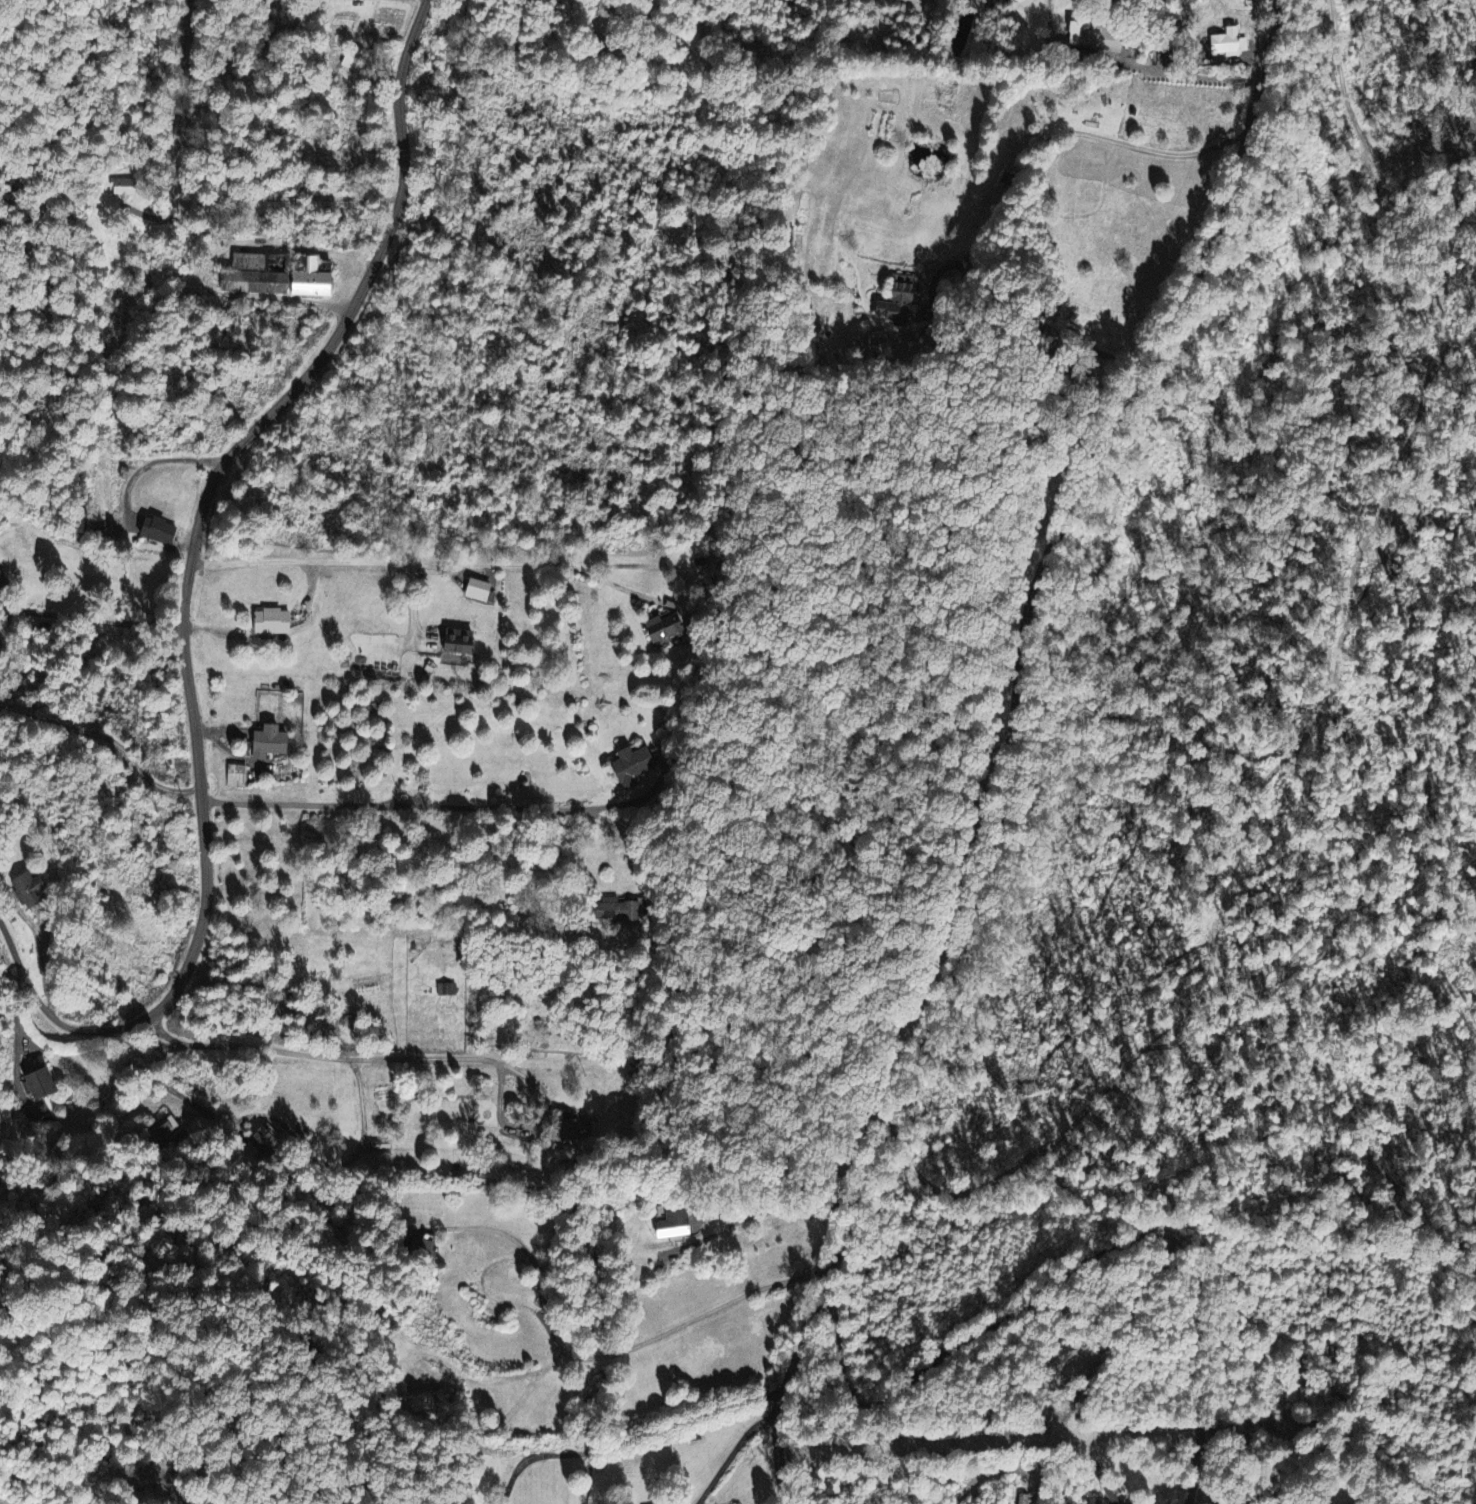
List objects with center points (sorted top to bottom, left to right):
building: (1097, 40)
building: (1228, 44)
road: (1190, 74)
road: (1048, 138)
road: (184, 217)
building: (272, 278)
building: (905, 304)
building: (156, 532)
road: (423, 566)
building: (2, 583)
road: (188, 585)
building: (476, 591)
road: (97, 619)
building: (271, 623)
building: (666, 629)
building: (456, 643)
road: (1013, 745)
road: (106, 748)
building: (633, 768)
building: (236, 777)
road: (401, 807)
building: (618, 911)
building: (446, 991)
road: (321, 1055)
building: (40, 1085)
building: (577, 1130)
road: (783, 1204)
building: (672, 1227)
road: (501, 1230)
road: (1121, 1325)
road: (661, 1334)
road: (954, 1347)
road: (1195, 1364)
road: (633, 1436)
road: (733, 1454)
building: (1021, 1499)

